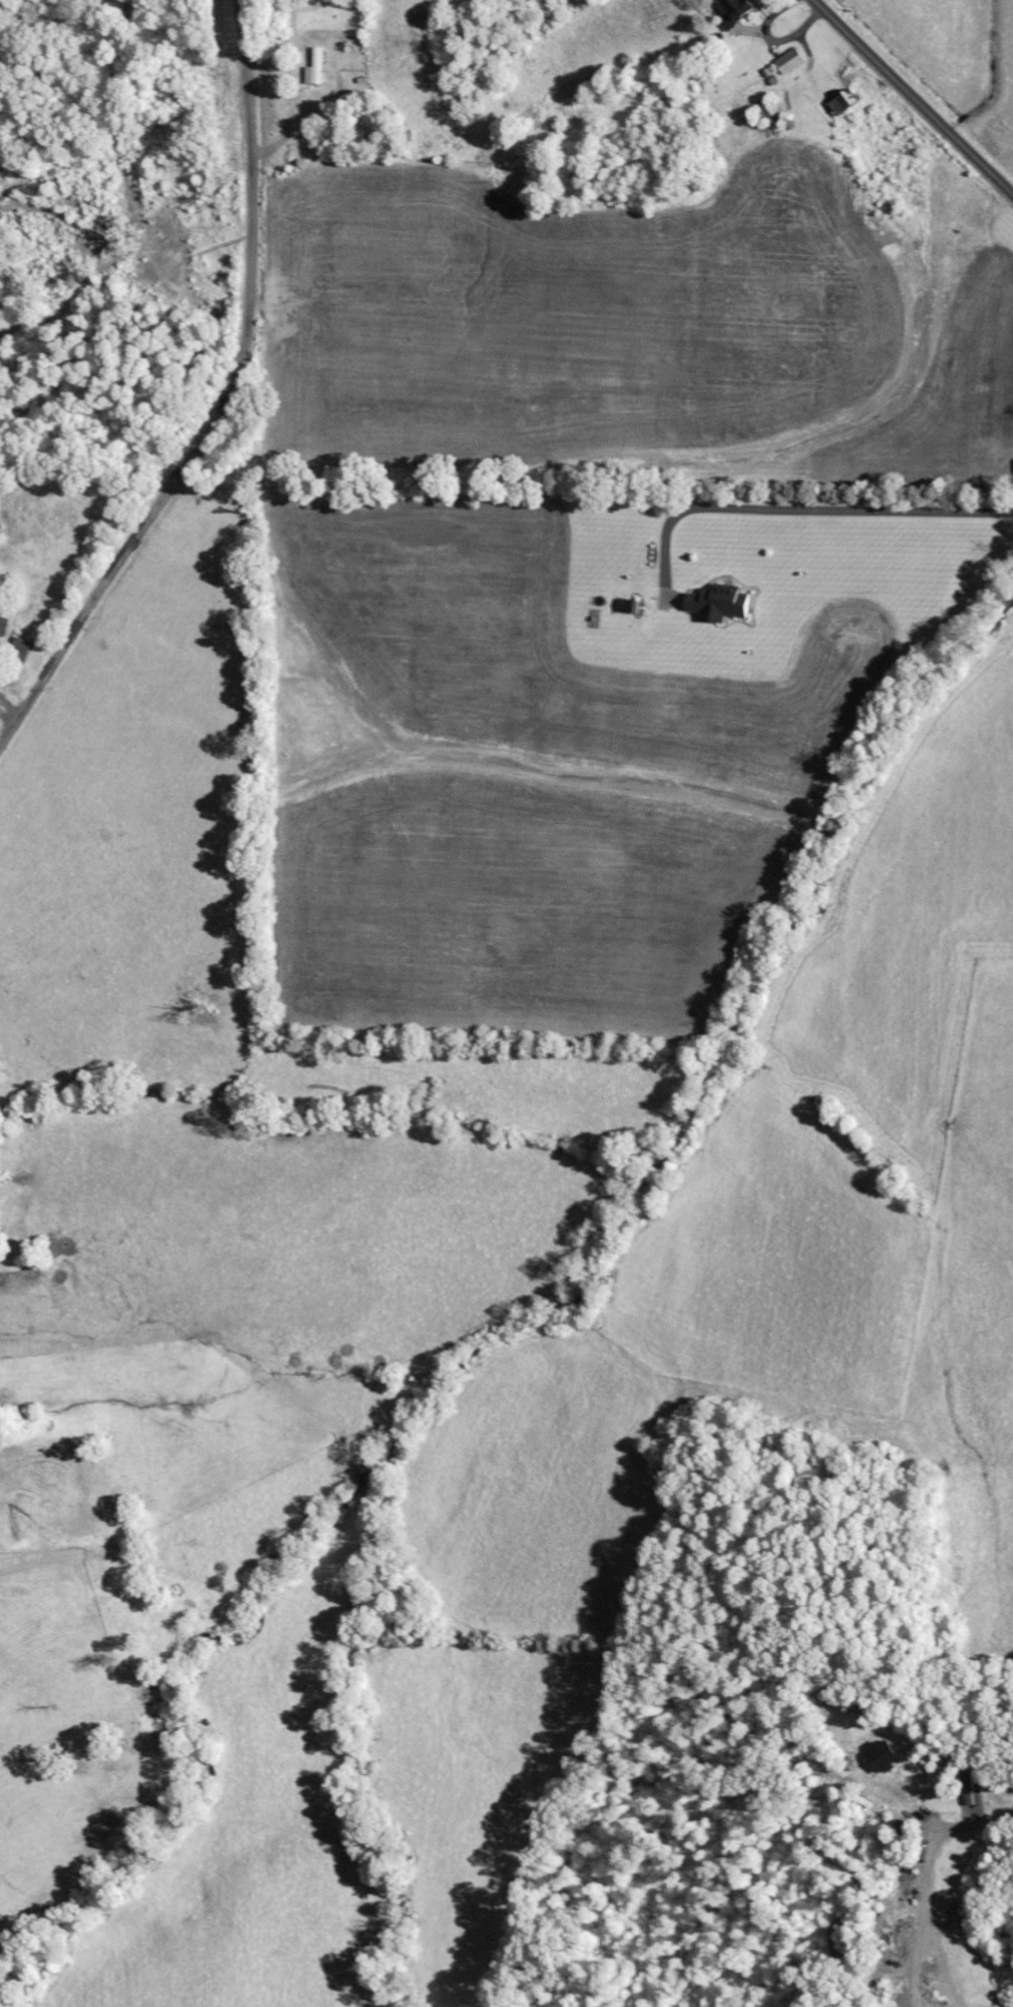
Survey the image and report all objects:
building: (732, 12)
building: (790, 61)
building: (315, 68)
road: (912, 98)
building: (843, 102)
road: (226, 408)
building: (718, 603)
building: (3, 626)
building: (20, 650)
building: (881, 1756)
building: (971, 1793)

